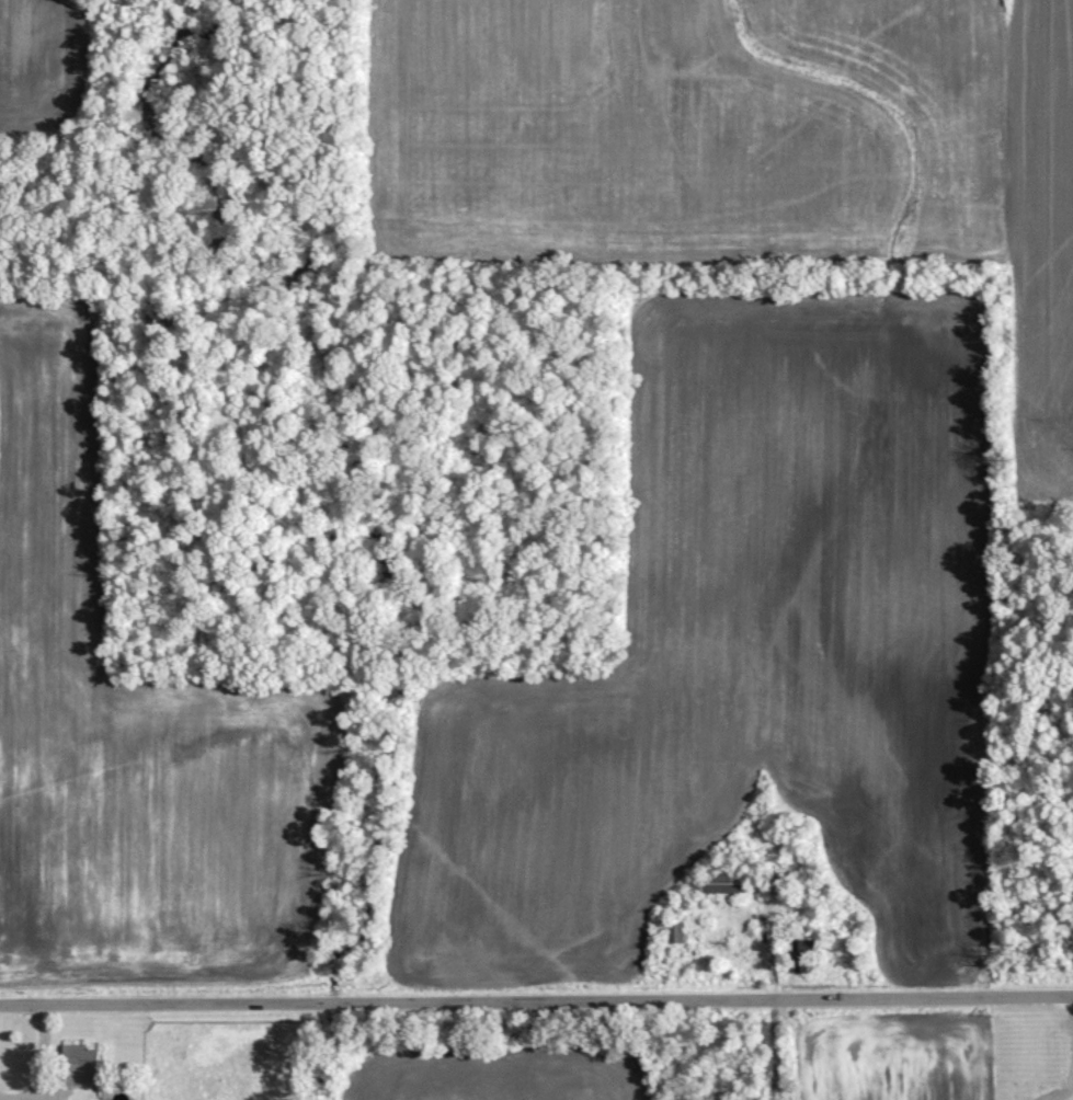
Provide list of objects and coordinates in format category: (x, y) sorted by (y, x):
building: (721, 880)
road: (536, 976)
road: (41, 1040)
building: (80, 1063)
road: (22, 1095)

